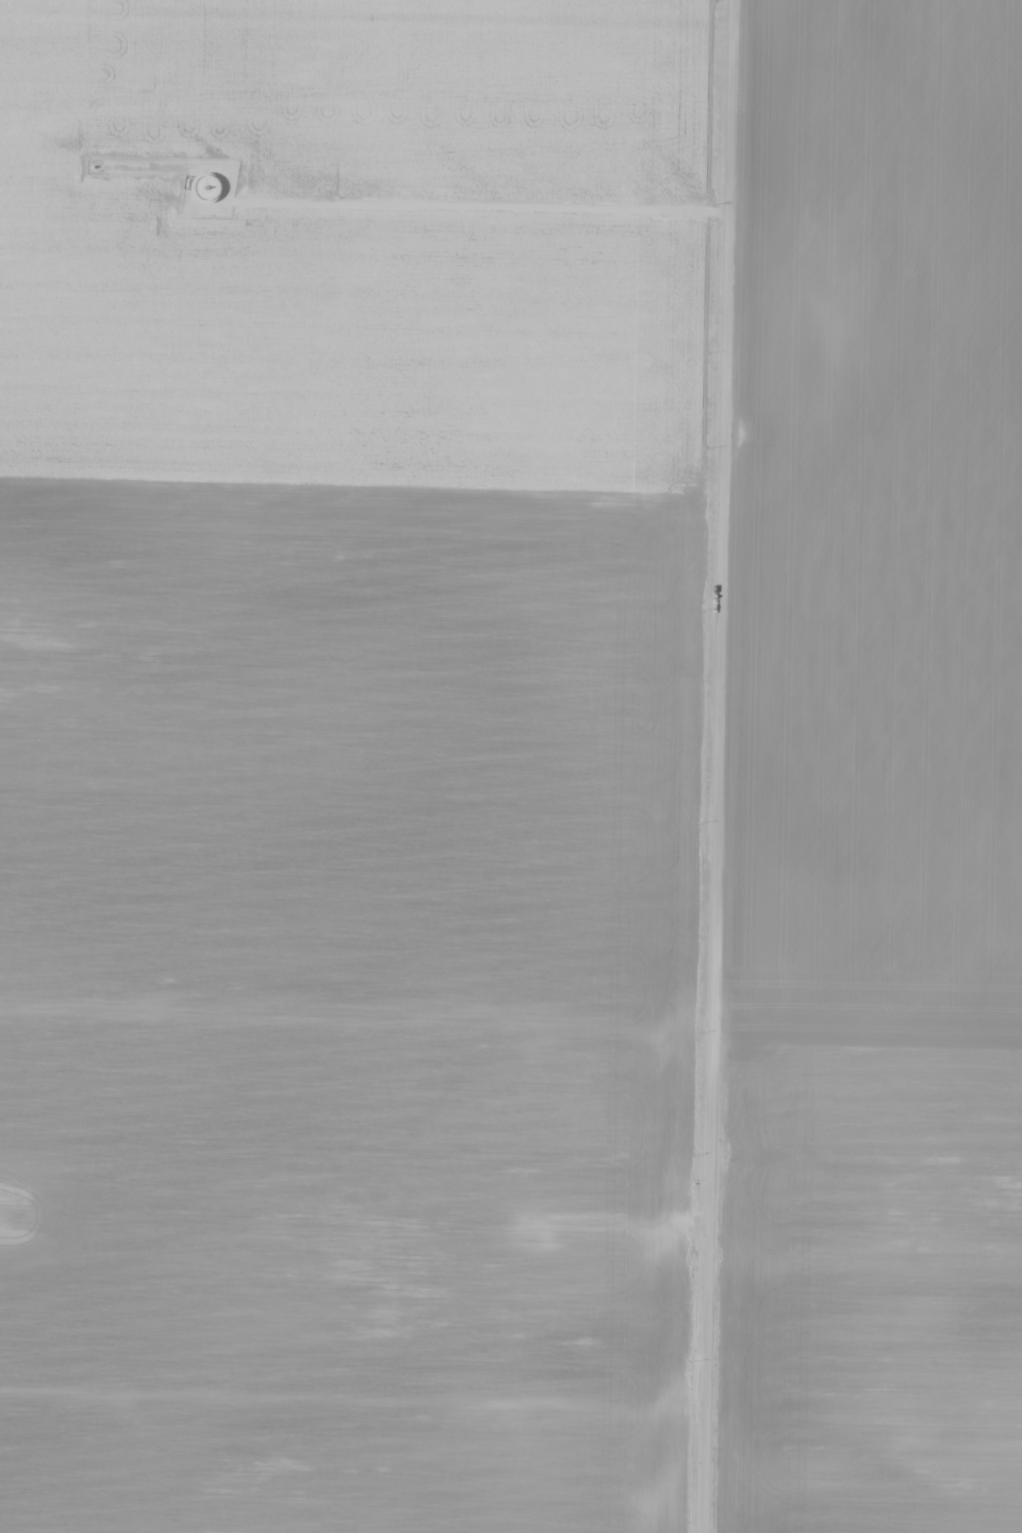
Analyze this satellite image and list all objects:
road: (725, 766)

